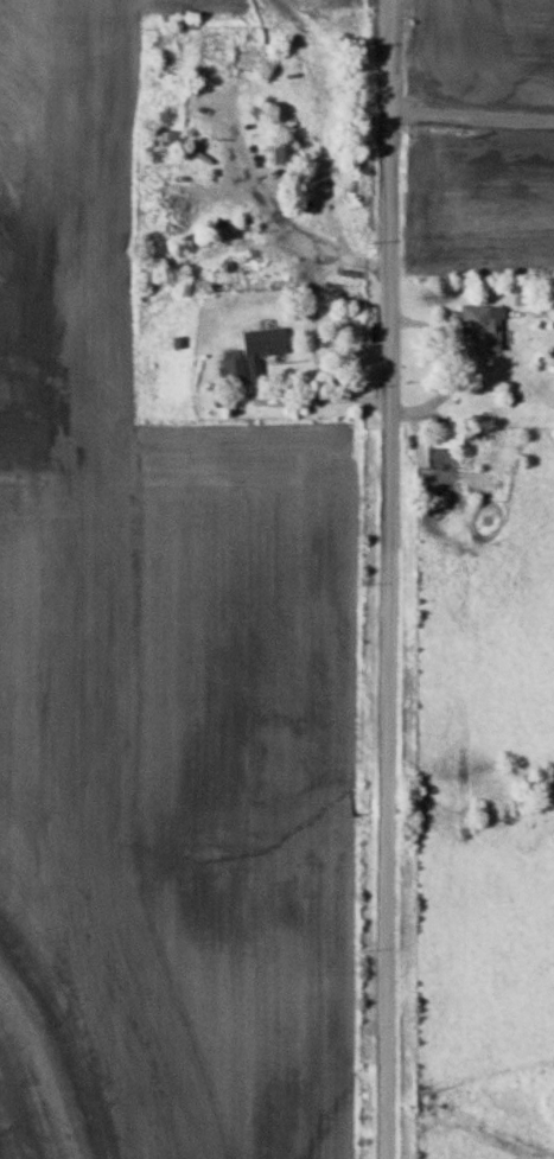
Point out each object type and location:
building: (165, 136)
building: (274, 149)
building: (476, 326)
building: (246, 354)
building: (441, 437)
road: (383, 579)

